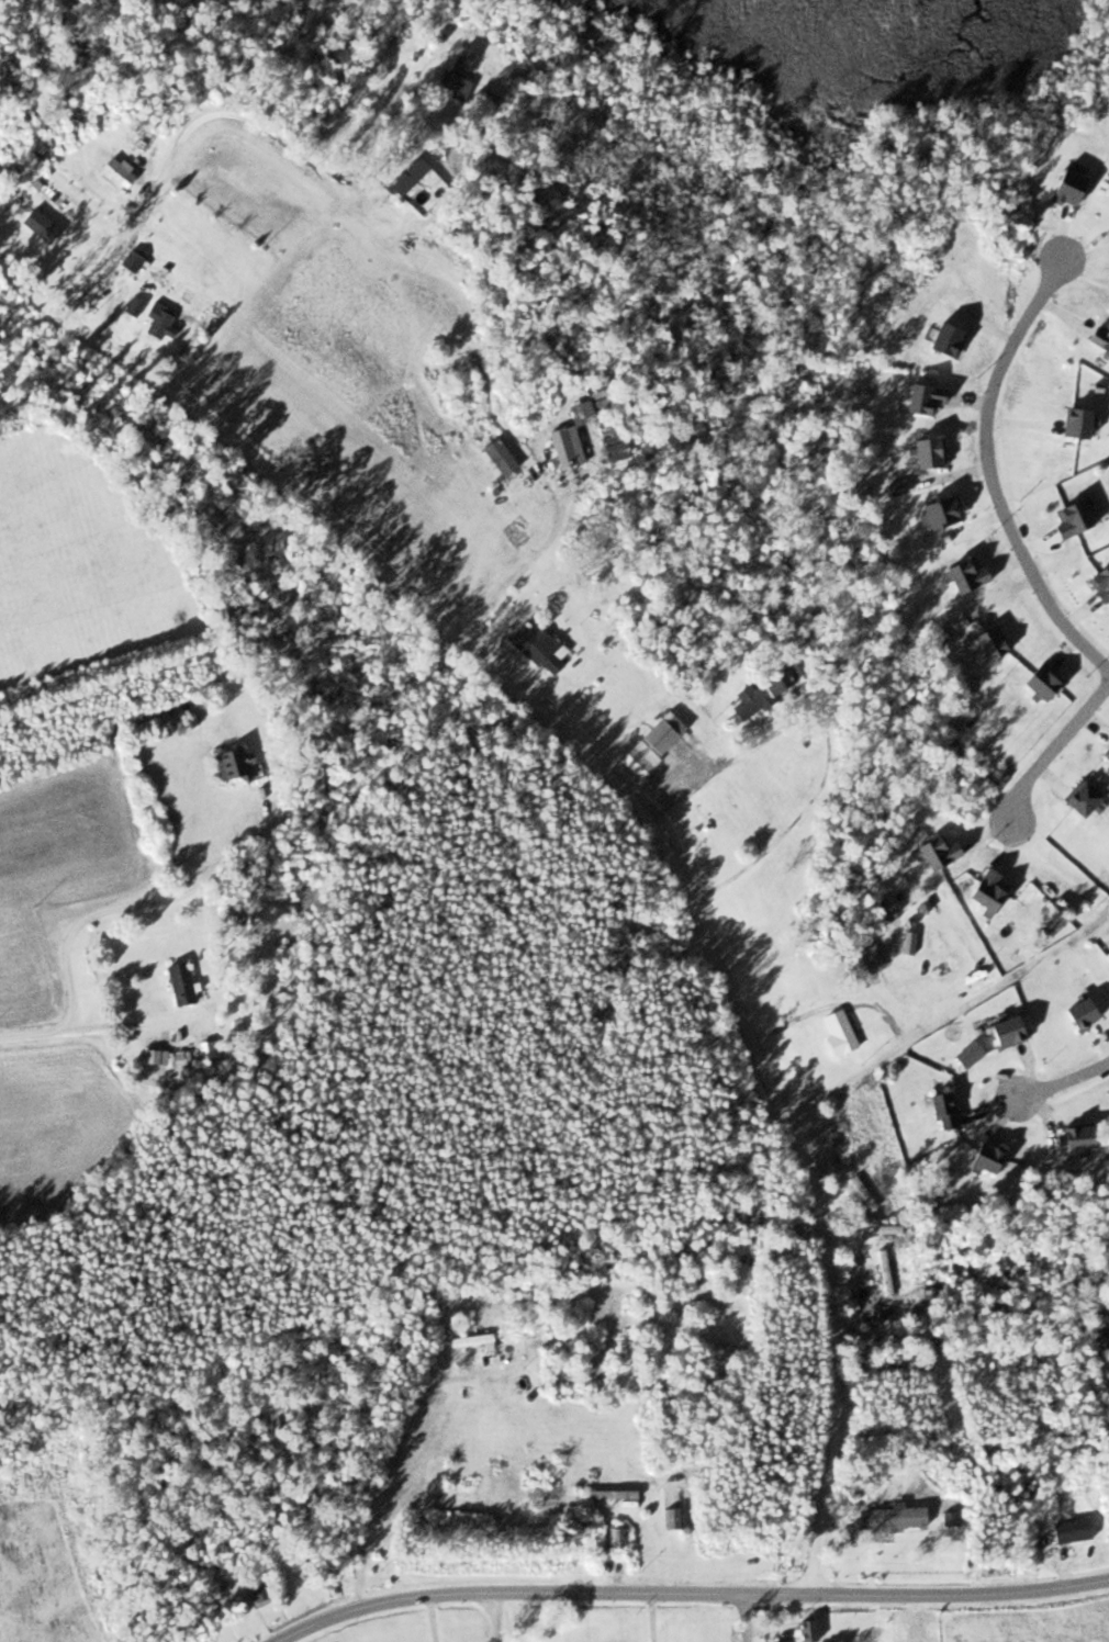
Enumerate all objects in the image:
building: (459, 61)
building: (483, 101)
building: (111, 169)
building: (404, 176)
building: (1107, 188)
building: (37, 226)
building: (128, 262)
building: (131, 307)
building: (156, 320)
building: (1098, 338)
building: (943, 340)
road: (475, 347)
building: (919, 400)
building: (1071, 423)
building: (569, 437)
building: (607, 438)
building: (925, 452)
road: (990, 473)
building: (937, 511)
building: (1068, 517)
building: (1098, 582)
building: (986, 641)
building: (536, 648)
building: (1037, 682)
building: (761, 690)
building: (650, 744)
road: (1055, 745)
building: (235, 764)
building: (1078, 799)
road: (634, 805)
building: (932, 852)
building: (984, 891)
building: (862, 960)
building: (942, 965)
building: (177, 983)
road: (949, 1009)
building: (1076, 1013)
building: (836, 1032)
building: (1001, 1033)
road: (1061, 1075)
building: (939, 1111)
building: (1074, 1138)
building: (982, 1159)
building: (883, 1272)
building: (1094, 1312)
building: (468, 1340)
building: (1099, 1340)
building: (670, 1387)
building: (610, 1495)
building: (889, 1519)
building: (671, 1520)
building: (1069, 1531)
building: (615, 1542)
building: (254, 1592)
road: (688, 1592)
road: (744, 1617)
building: (573, 1634)

